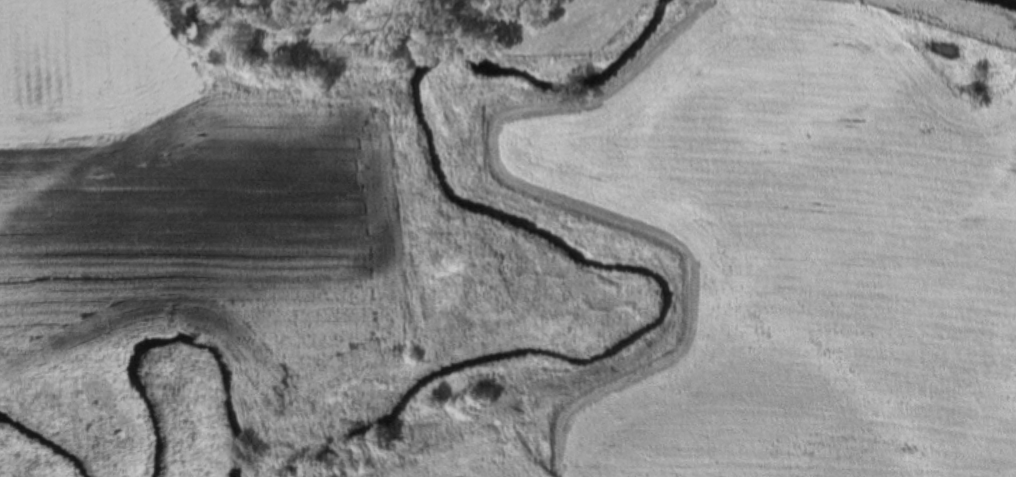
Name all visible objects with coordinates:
river: (1011, 1)
river: (569, 250)
river: (173, 332)
river: (42, 446)

